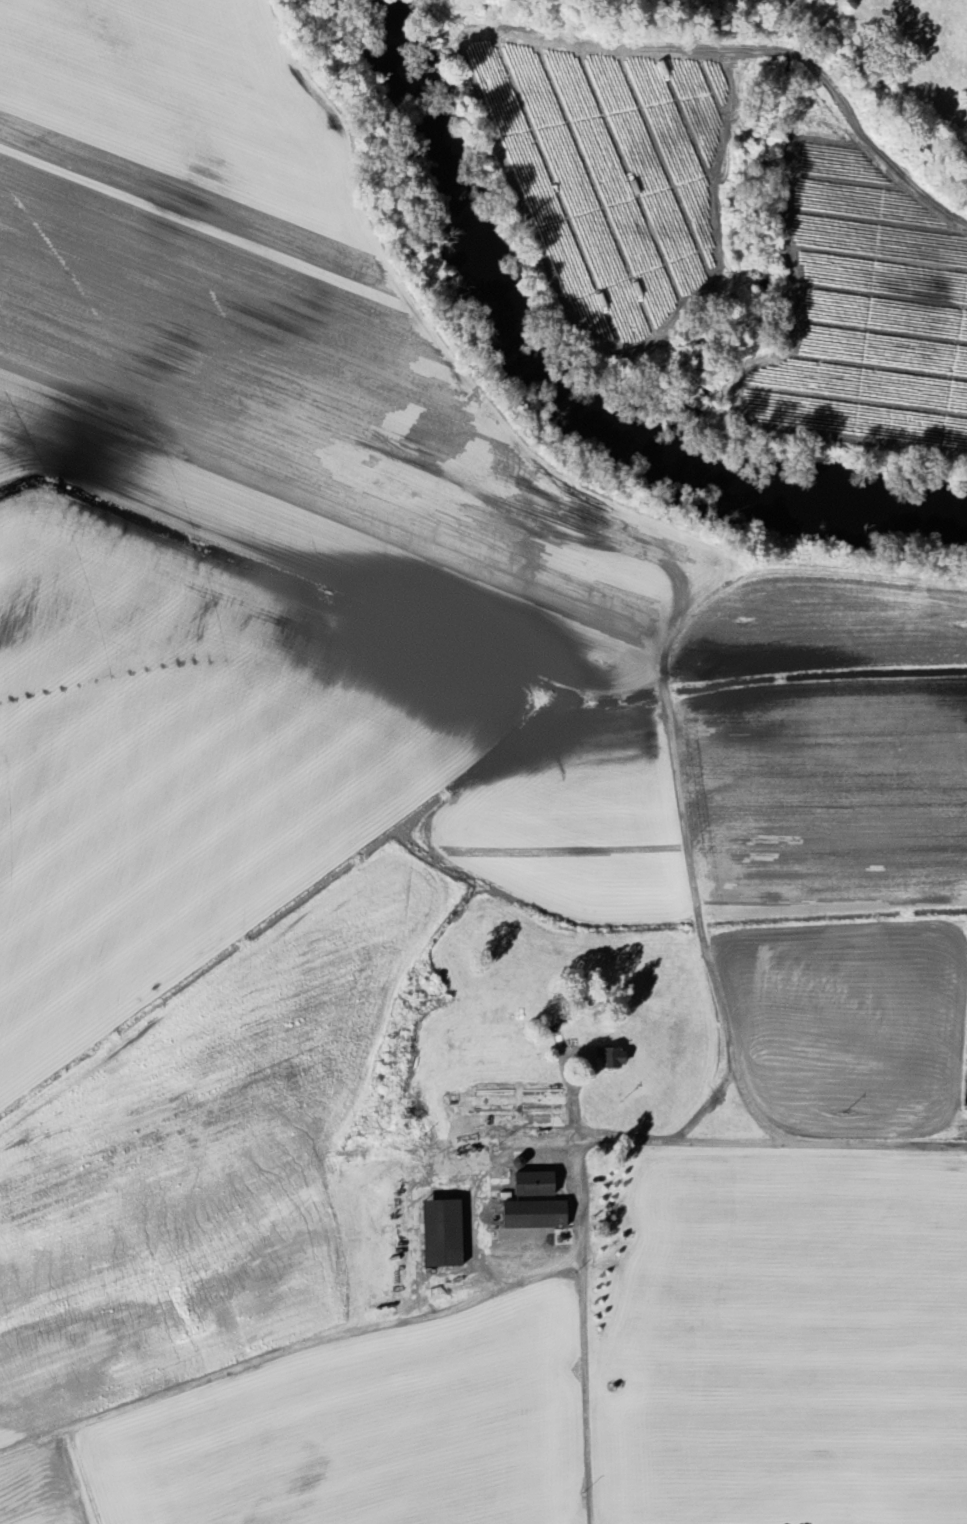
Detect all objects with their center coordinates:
river: (475, 249)
river: (800, 492)
building: (608, 1057)
road: (583, 1142)
building: (531, 1184)
building: (530, 1215)
building: (437, 1234)

